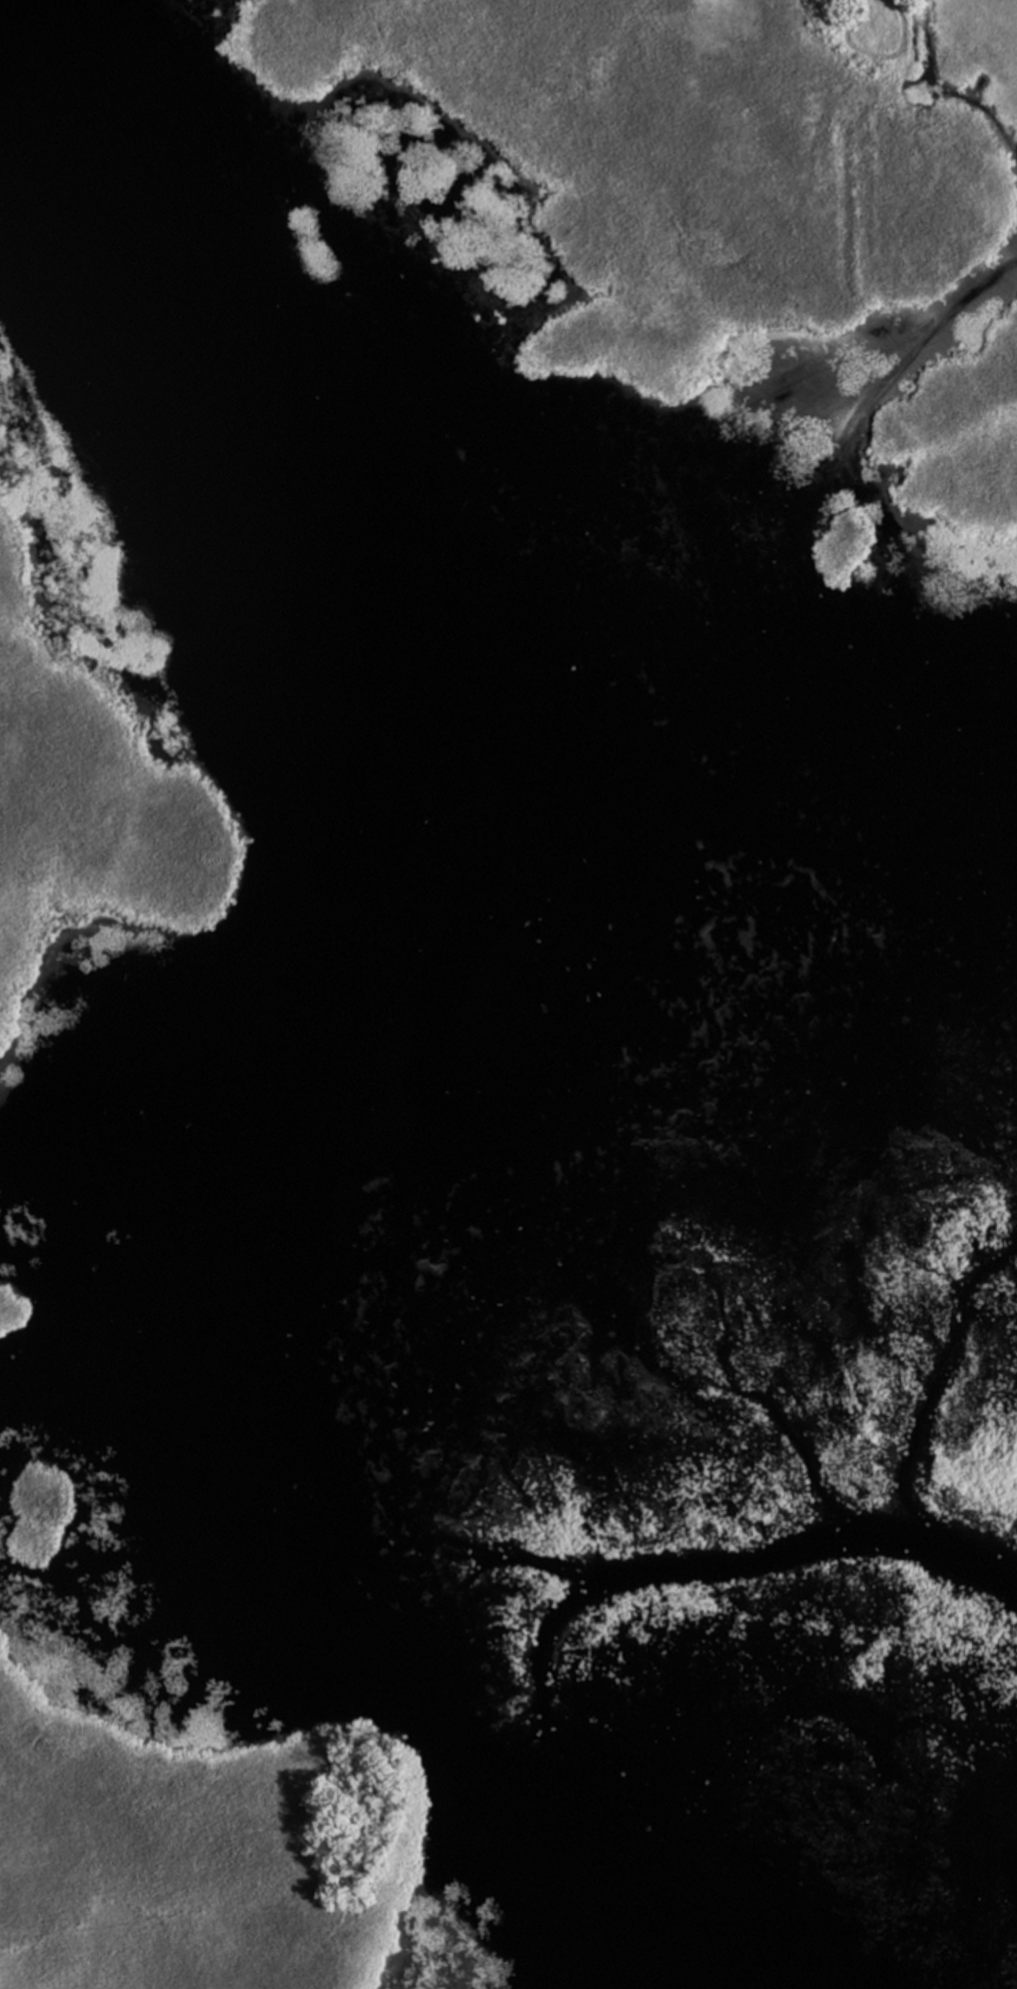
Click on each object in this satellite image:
river: (717, 896)

